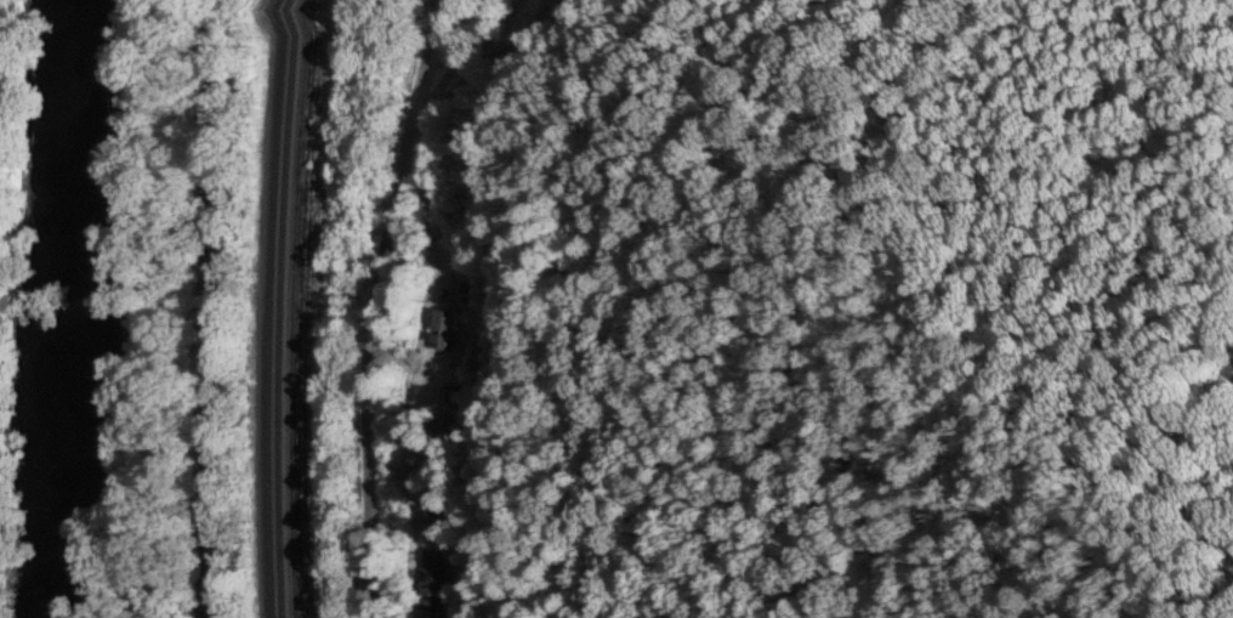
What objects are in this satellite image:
road: (375, 306)
river: (70, 308)
road: (214, 308)
railway: (282, 308)
building: (431, 585)

